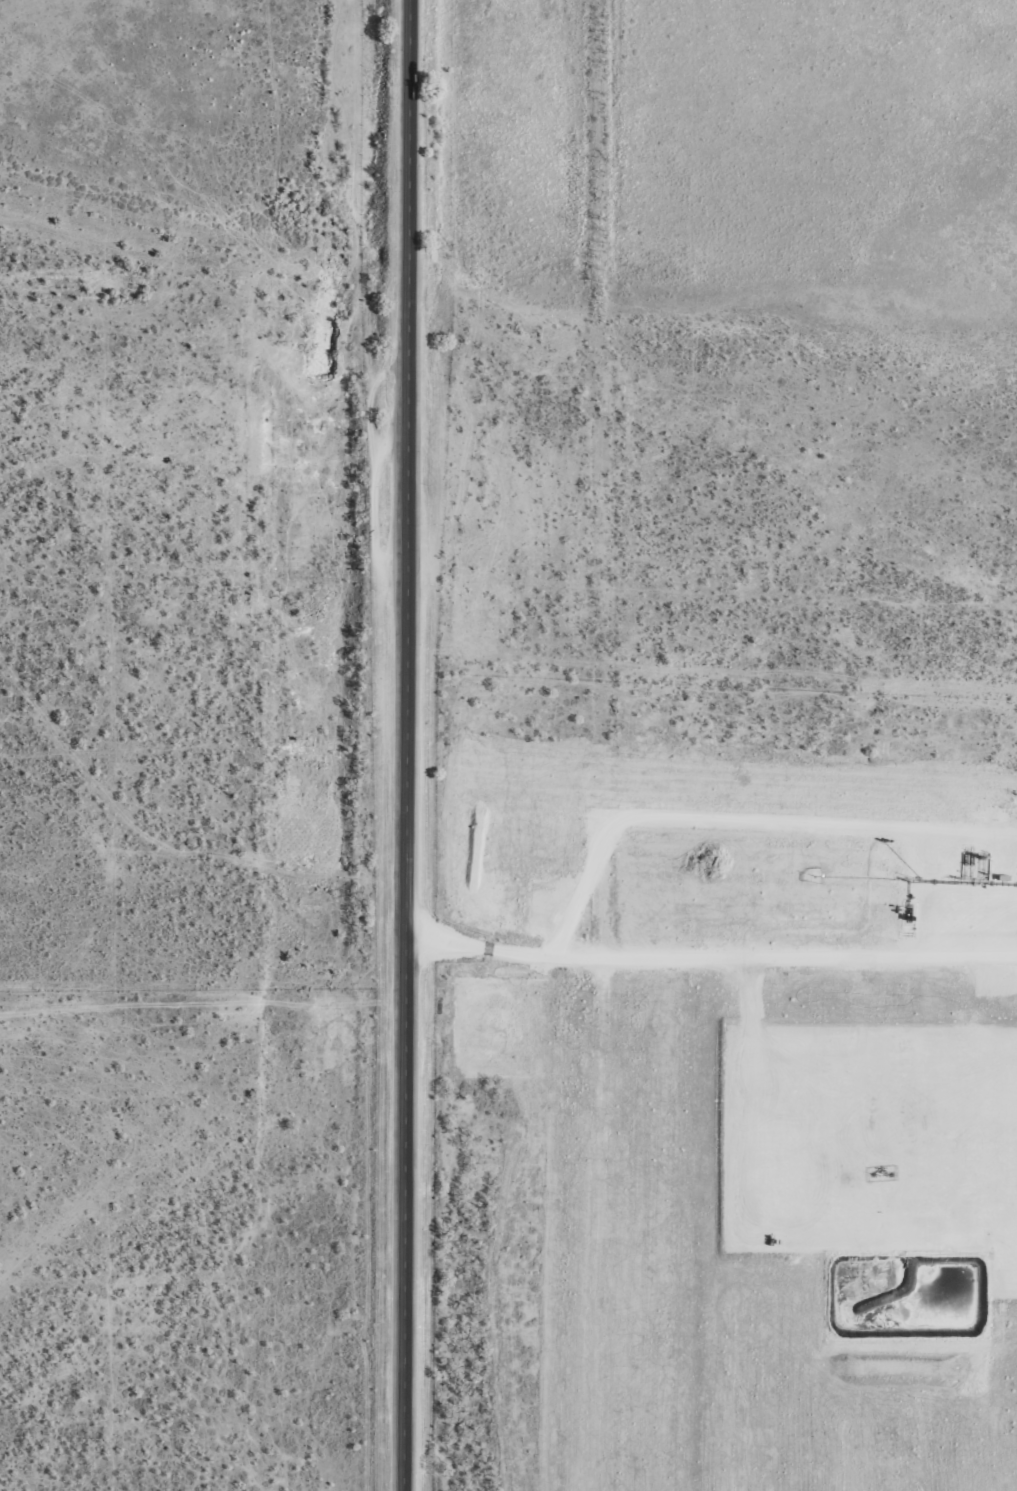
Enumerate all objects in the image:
road: (401, 745)
road: (454, 934)

